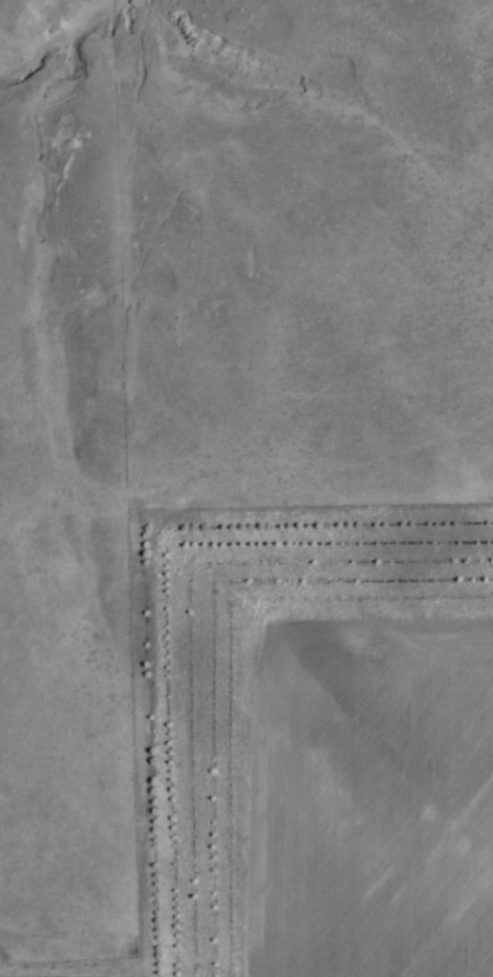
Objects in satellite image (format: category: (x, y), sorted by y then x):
crop: (367, 788)
crop: (72, 975)

